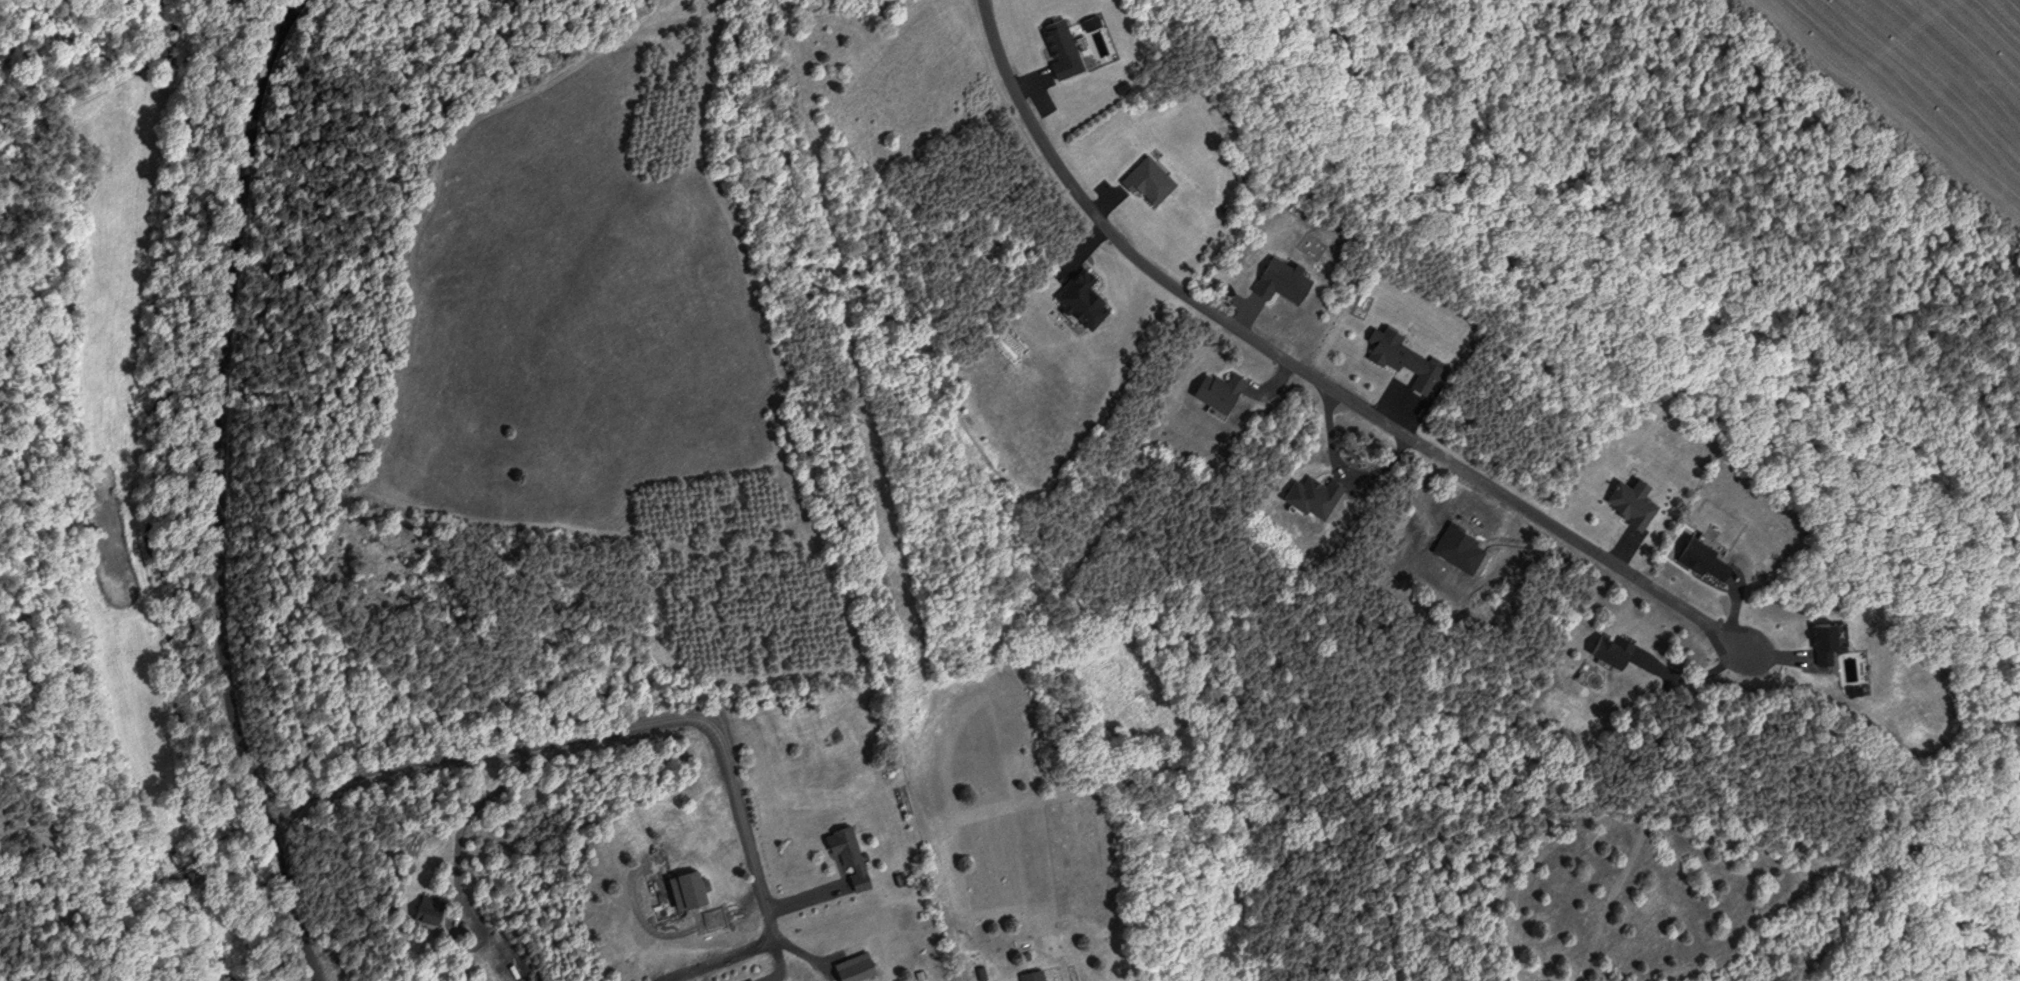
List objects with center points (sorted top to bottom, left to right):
building: (1055, 46)
building: (1144, 179)
building: (1077, 298)
building: (1398, 356)
road: (1309, 373)
building: (1213, 389)
road: (214, 493)
building: (1311, 496)
building: (1627, 501)
building: (1605, 648)
road: (652, 724)
building: (845, 855)
road: (798, 898)
road: (774, 956)
building: (1028, 975)
building: (751, 980)

